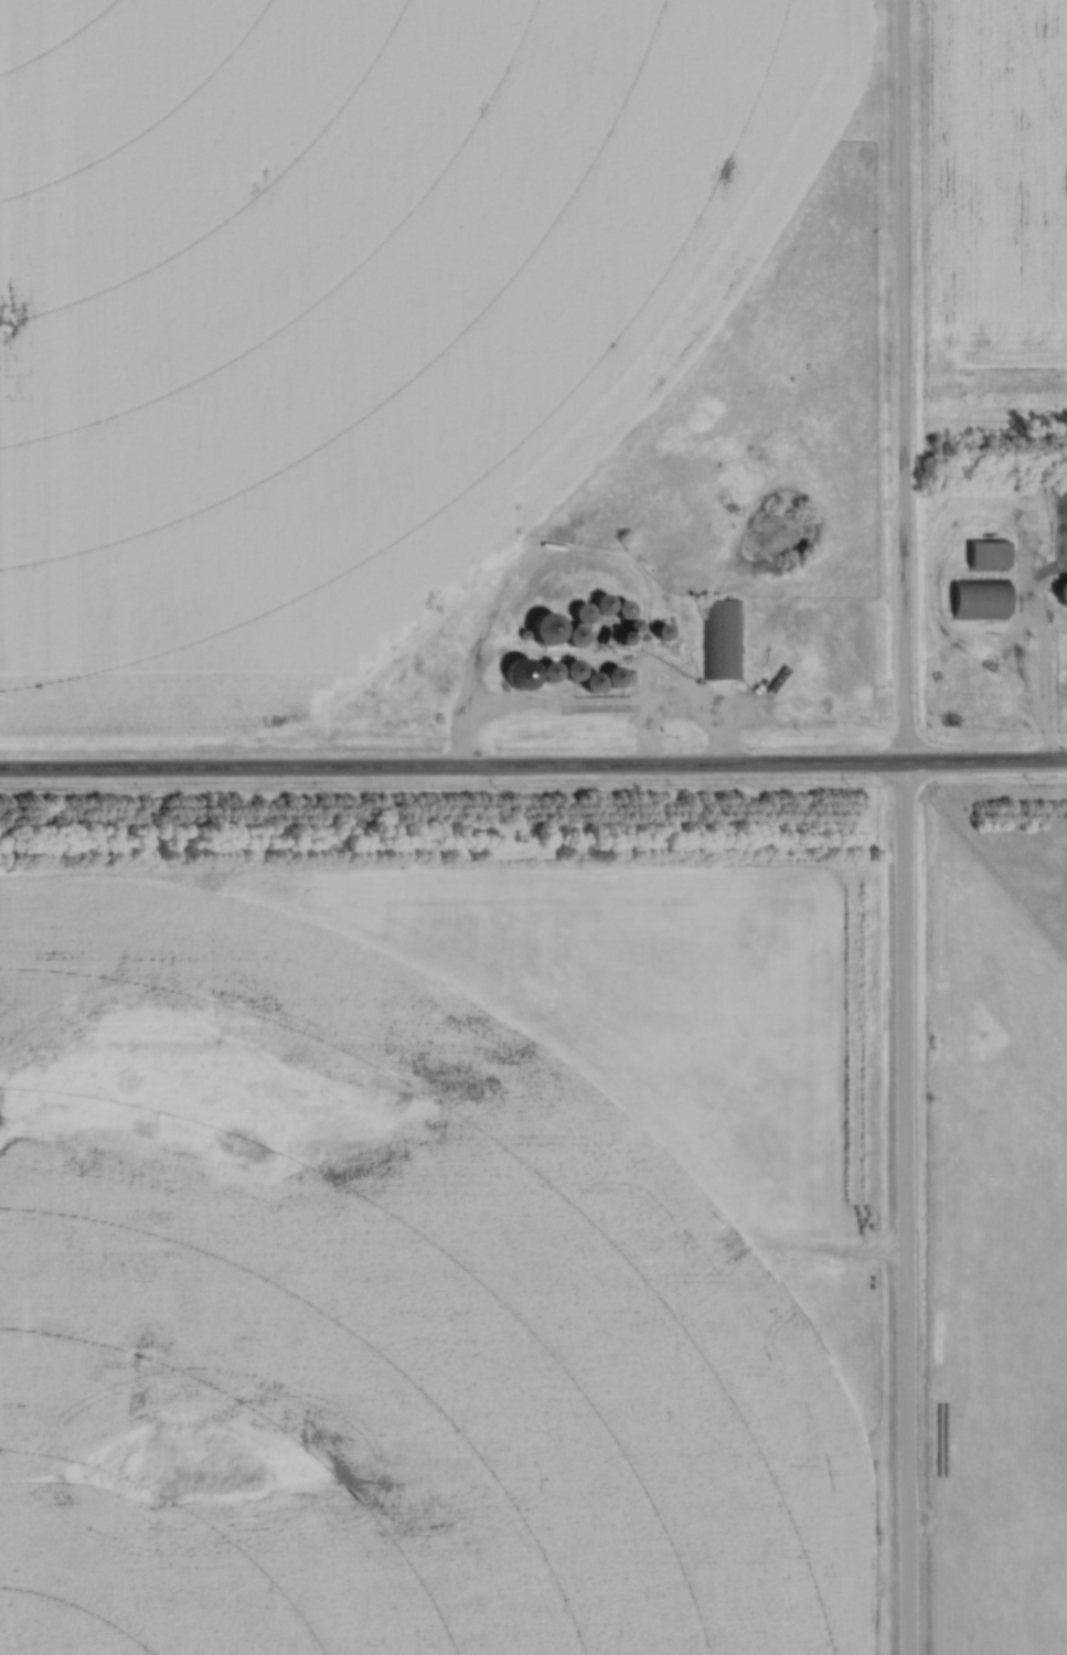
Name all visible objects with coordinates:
building: (984, 557)
building: (1060, 594)
building: (978, 600)
building: (537, 630)
building: (725, 641)
building: (559, 672)
building: (513, 675)
road: (1043, 676)
road: (533, 767)
road: (906, 827)
airport: (995, 1261)

